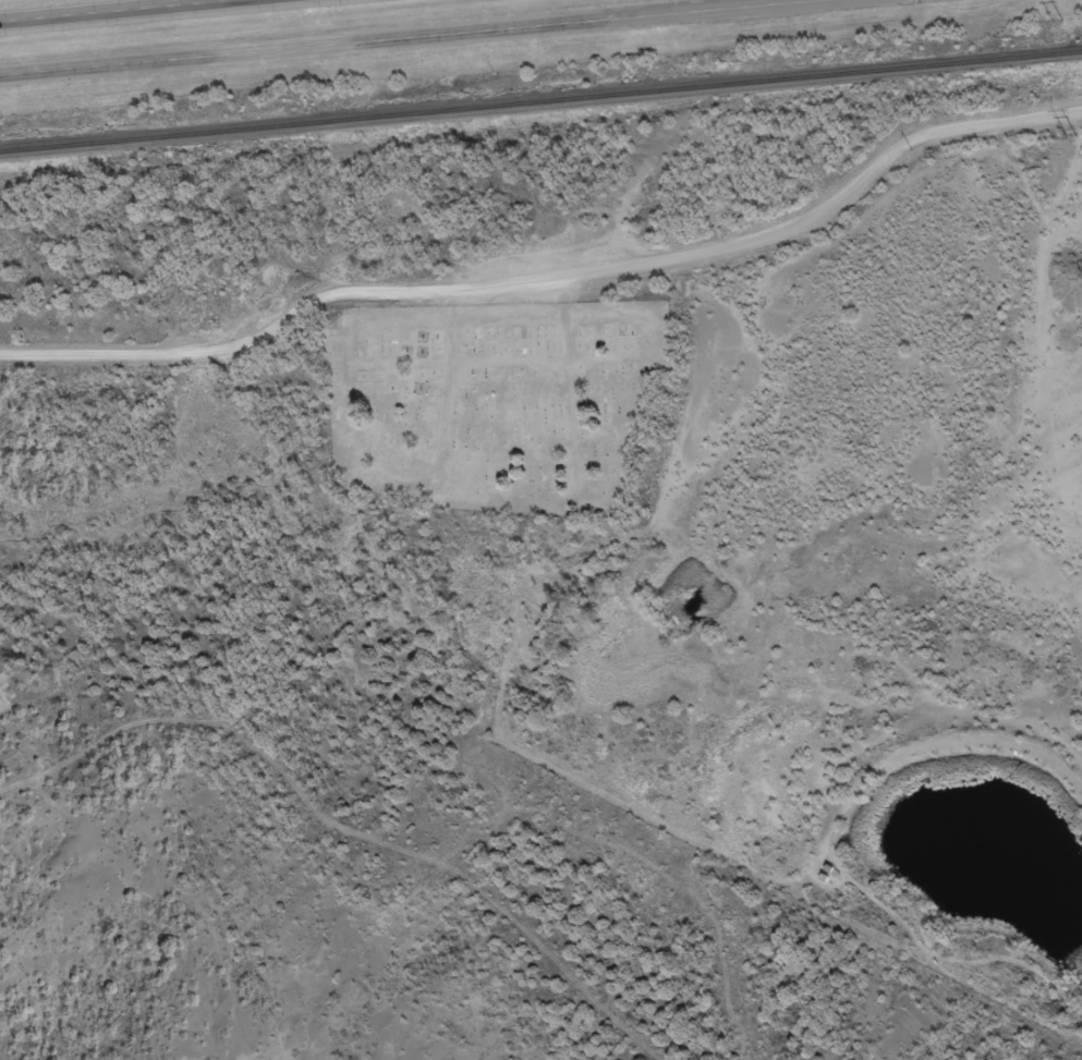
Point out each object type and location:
road: (102, 9)
road: (671, 14)
power tower: (1055, 20)
road: (256, 52)
railway: (540, 99)
road: (813, 211)
road: (267, 328)
park: (489, 400)

